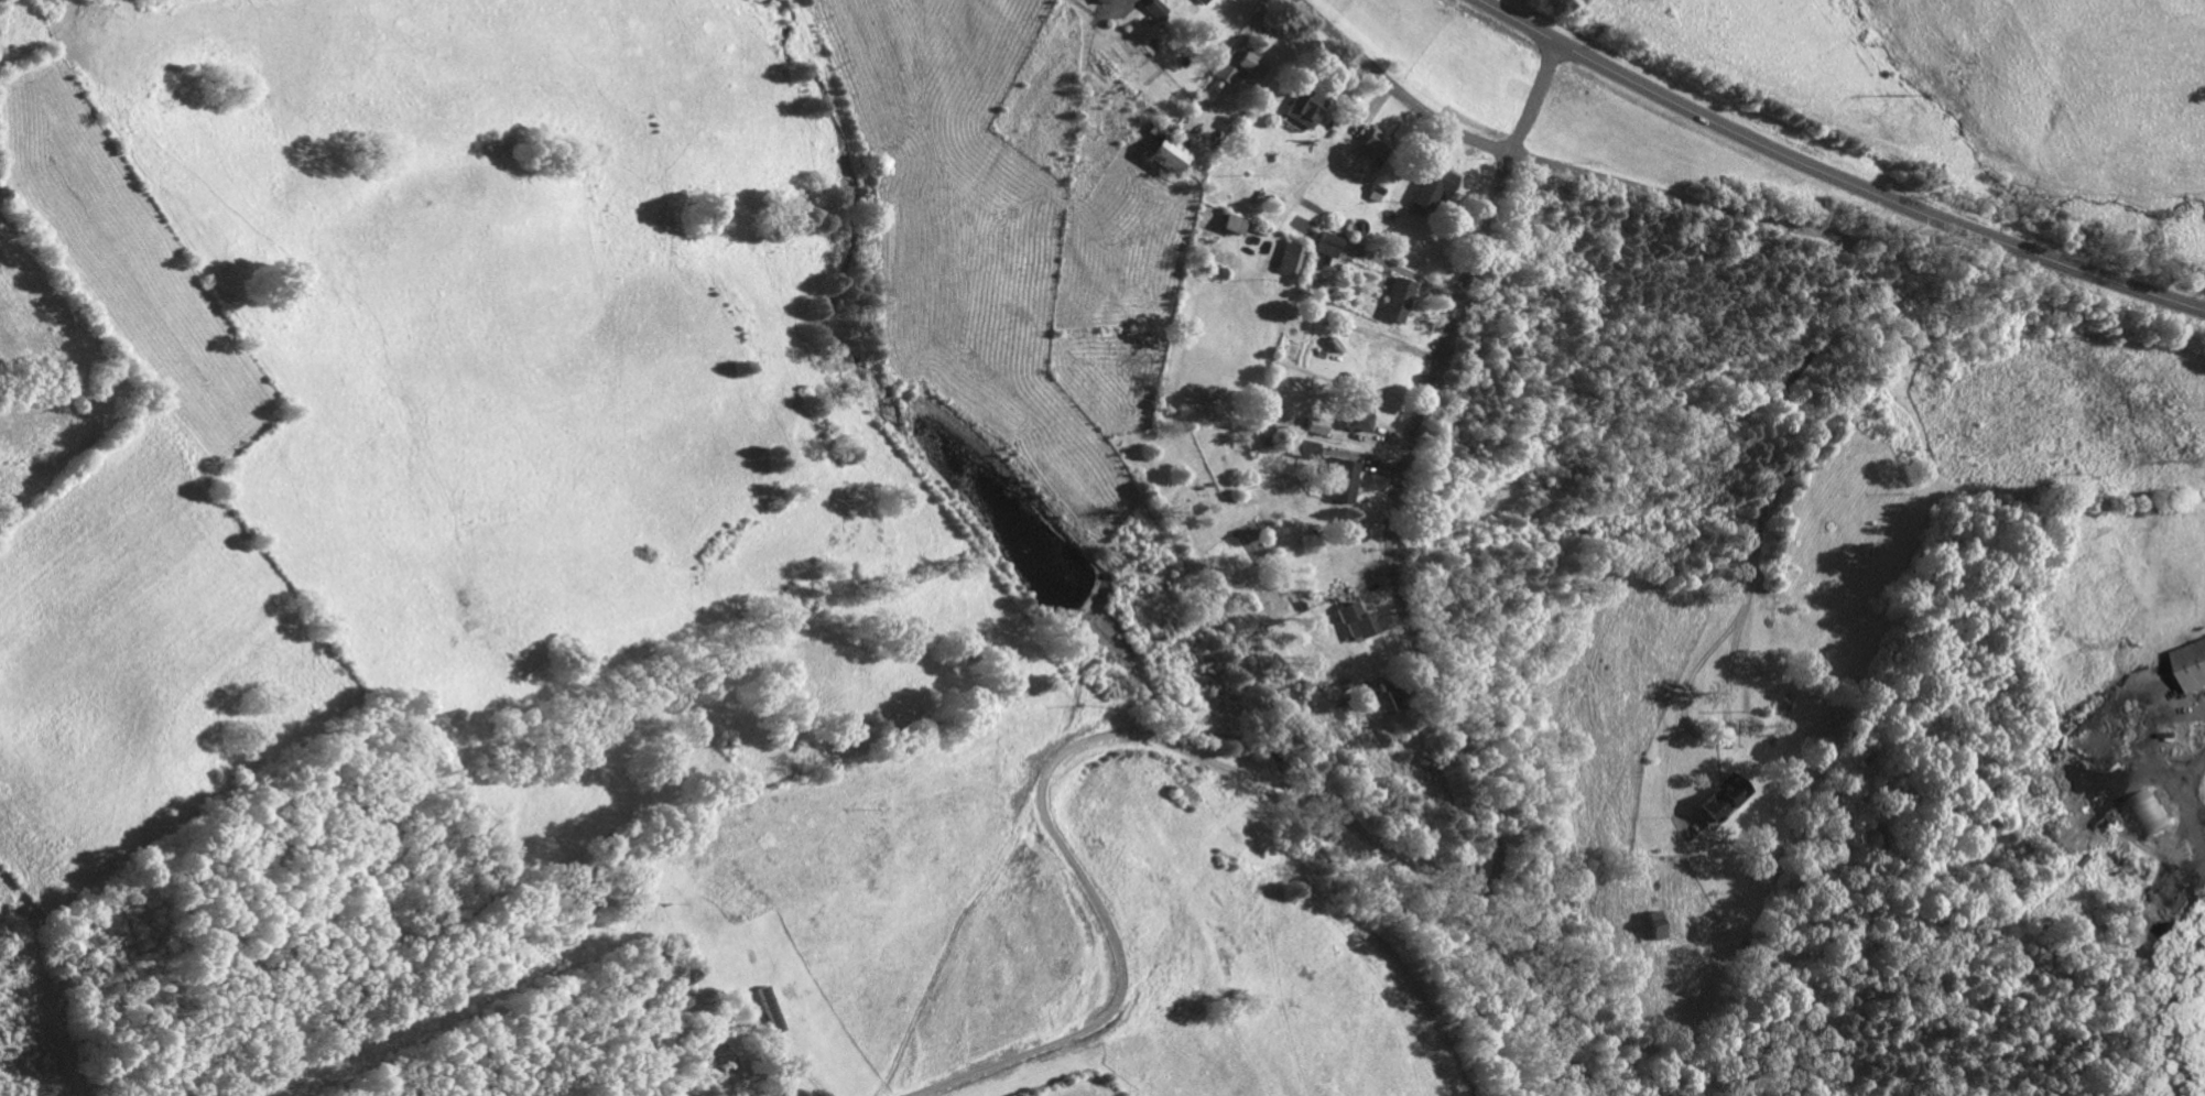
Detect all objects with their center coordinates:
building: (1100, 1)
building: (1198, 1)
building: (1153, 8)
building: (1249, 63)
building: (1221, 72)
building: (1303, 107)
building: (1373, 143)
building: (1164, 153)
road: (1550, 165)
road: (1834, 178)
building: (1431, 185)
building: (1231, 224)
building: (1326, 243)
building: (1290, 257)
building: (1395, 299)
building: (1358, 413)
building: (1315, 425)
building: (1308, 448)
building: (1342, 478)
road: (1392, 576)
building: (1357, 621)
building: (2194, 664)
road: (1044, 770)
building: (1720, 799)
building: (2152, 815)
building: (1652, 925)
building: (768, 1009)
road: (796, 1066)

